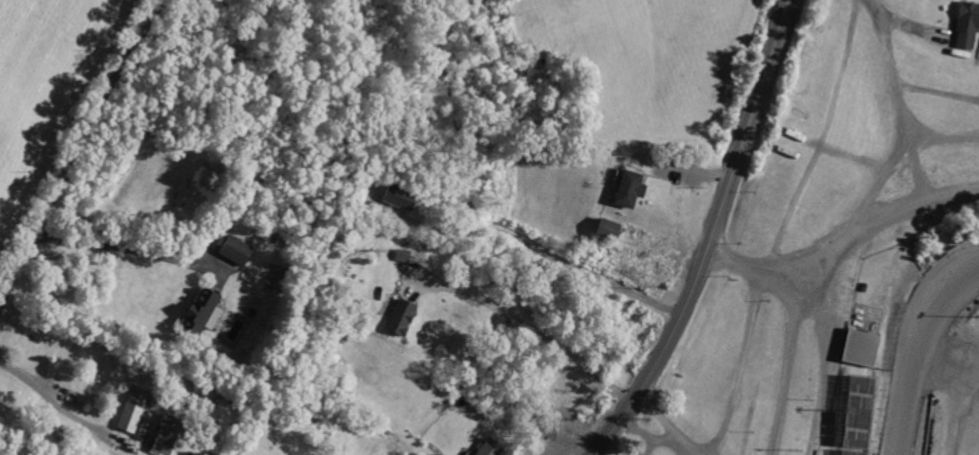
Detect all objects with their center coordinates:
building: (968, 24)
road: (942, 95)
road: (945, 141)
road: (76, 152)
road: (906, 157)
building: (629, 190)
building: (399, 198)
building: (610, 228)
road: (713, 237)
road: (135, 248)
building: (236, 250)
road: (546, 254)
building: (401, 256)
road: (834, 309)
building: (204, 313)
building: (401, 317)
road: (522, 318)
building: (862, 347)
raceway: (921, 347)
raceway: (927, 347)
road: (55, 398)
building: (861, 410)
building: (132, 412)
road: (674, 425)
building: (164, 435)
building: (489, 448)
building: (853, 452)

